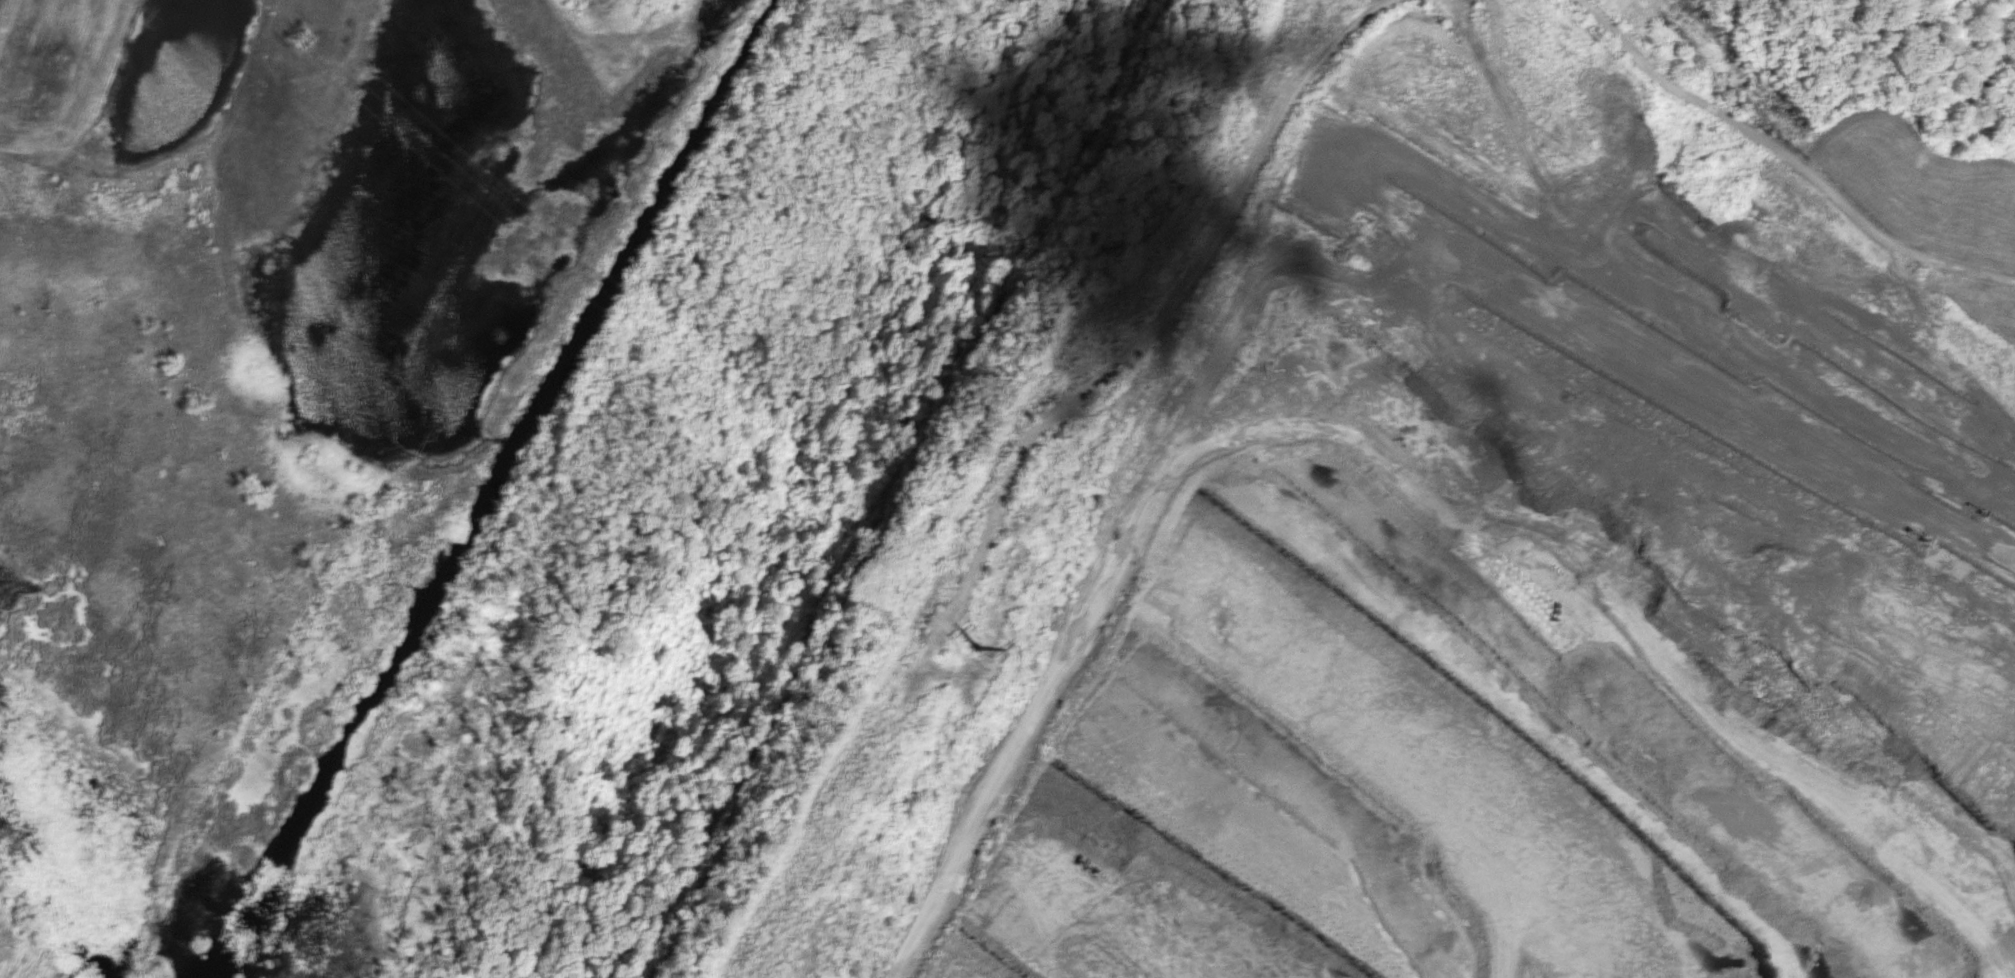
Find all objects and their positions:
power tower: (299, 37)
power tower: (979, 648)
quarry: (1217, 837)
road: (1957, 935)

